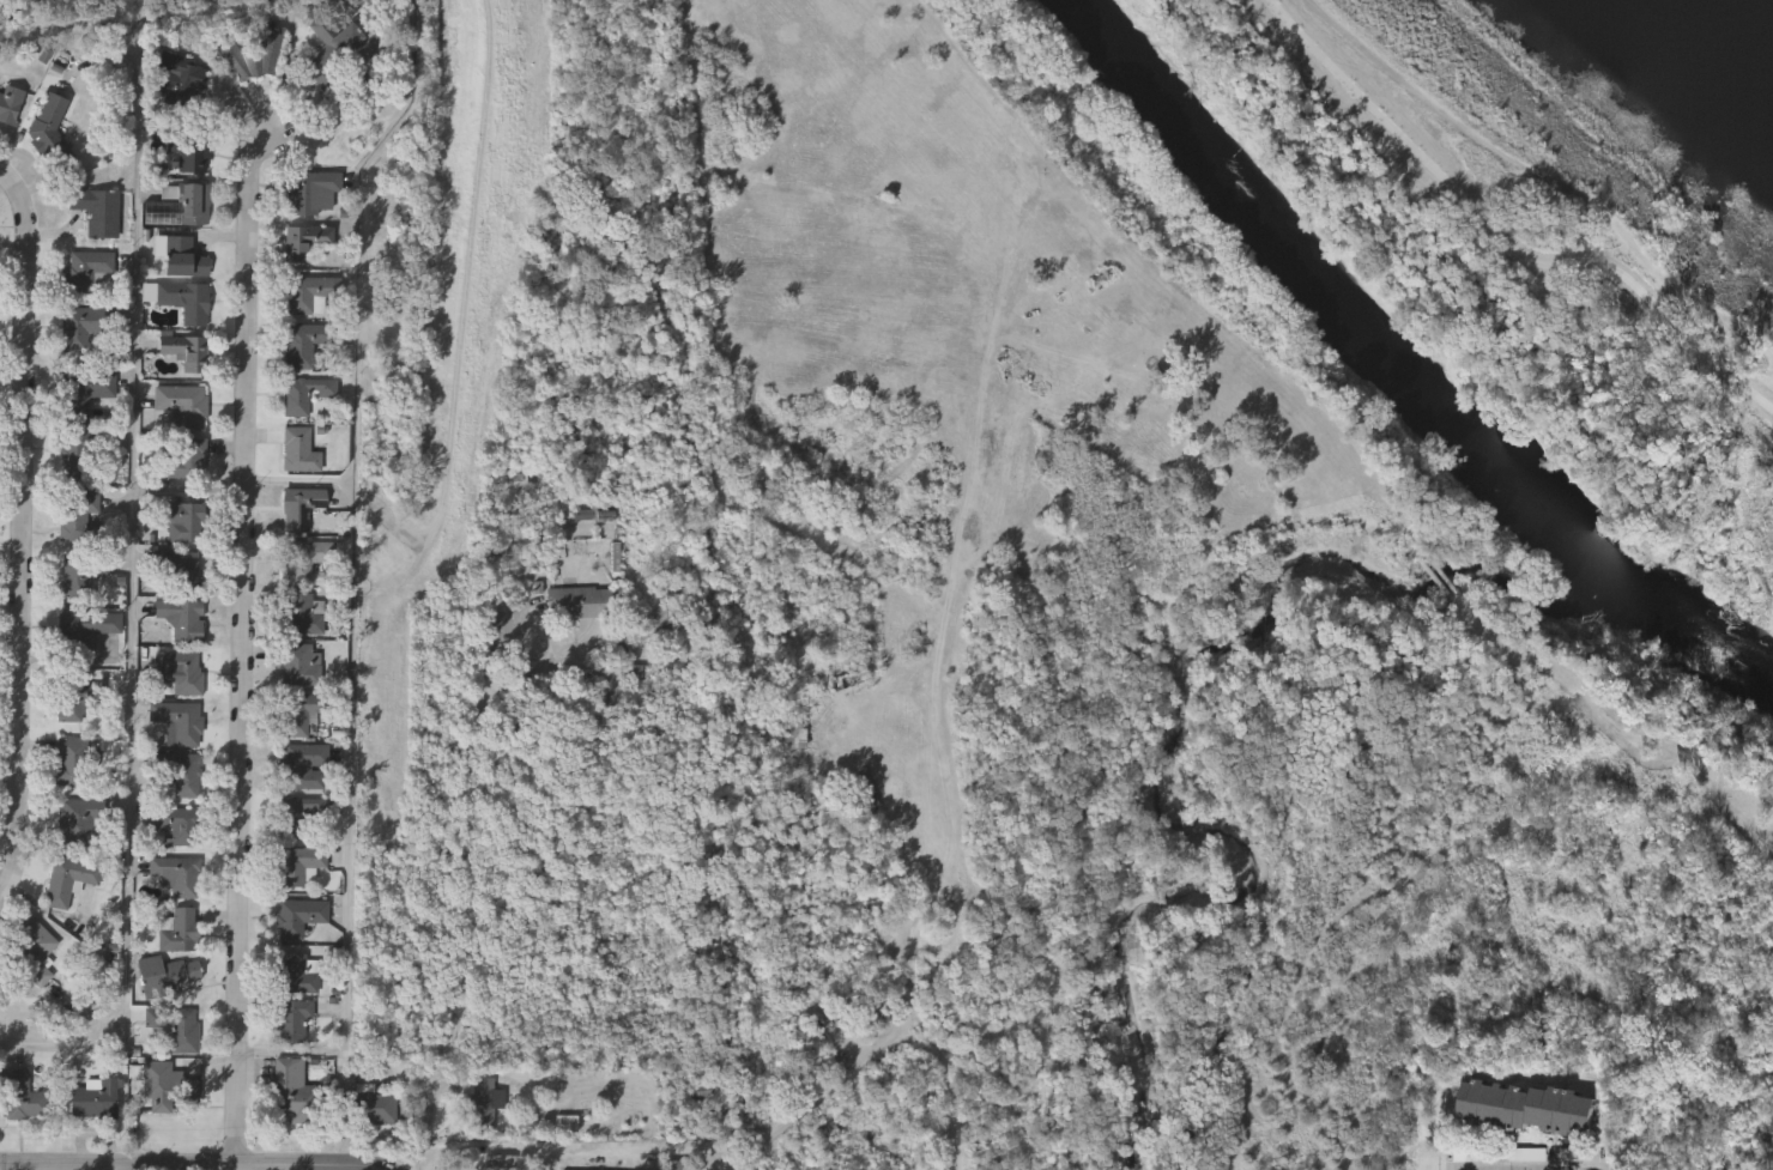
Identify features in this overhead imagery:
building: (331, 46)
road: (292, 49)
building: (254, 55)
building: (183, 73)
building: (10, 104)
building: (47, 120)
building: (190, 152)
building: (313, 192)
building: (182, 205)
building: (97, 211)
building: (307, 242)
building: (183, 257)
road: (1485, 262)
building: (87, 268)
building: (310, 295)
building: (187, 301)
building: (83, 327)
building: (308, 346)
building: (186, 351)
river: (1393, 372)
building: (305, 393)
building: (83, 396)
building: (183, 404)
building: (299, 450)
building: (75, 456)
building: (188, 459)
road: (299, 481)
building: (301, 508)
building: (582, 514)
building: (75, 522)
building: (183, 522)
road: (23, 536)
building: (305, 558)
building: (183, 571)
road: (356, 572)
building: (75, 576)
building: (581, 601)
road: (132, 610)
building: (298, 612)
building: (673, 622)
building: (186, 623)
building: (85, 630)
road: (242, 648)
building: (301, 665)
building: (182, 672)
building: (848, 680)
building: (78, 698)
building: (811, 699)
building: (301, 711)
building: (180, 725)
building: (73, 762)
building: (304, 766)
building: (187, 776)
building: (866, 795)
building: (301, 816)
building: (80, 820)
building: (182, 825)
building: (299, 863)
road: (470, 867)
building: (177, 874)
building: (69, 878)
building: (301, 916)
building: (36, 938)
building: (174, 953)
building: (297, 974)
road: (909, 984)
building: (0, 992)
building: (292, 1020)
building: (176, 1027)
building: (168, 1087)
building: (700, 1091)
building: (294, 1093)
building: (23, 1097)
building: (95, 1099)
building: (484, 1105)
building: (369, 1108)
building: (1526, 1109)
building: (568, 1124)
building: (498, 1163)

